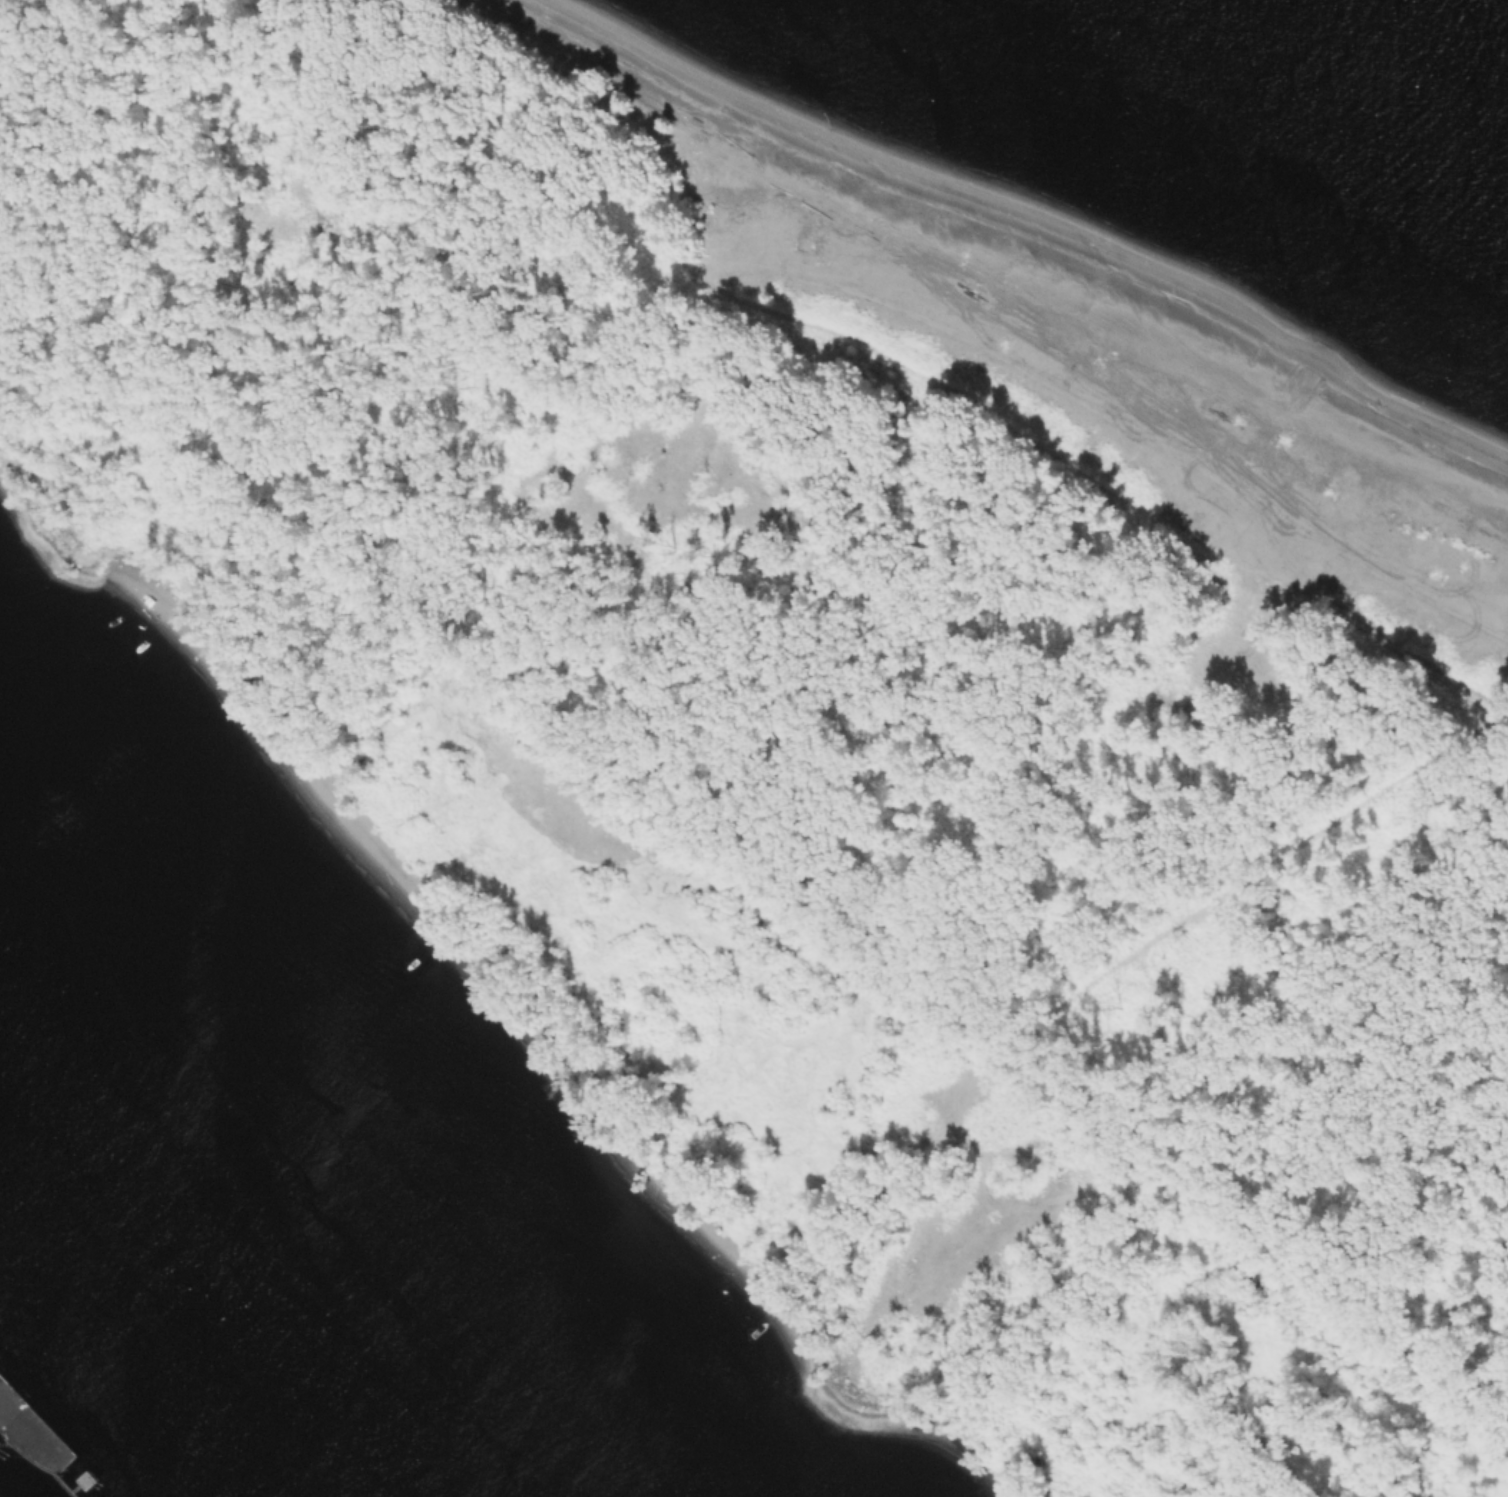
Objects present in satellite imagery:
road: (922, 316)
river: (252, 1227)
pier: (33, 1440)

